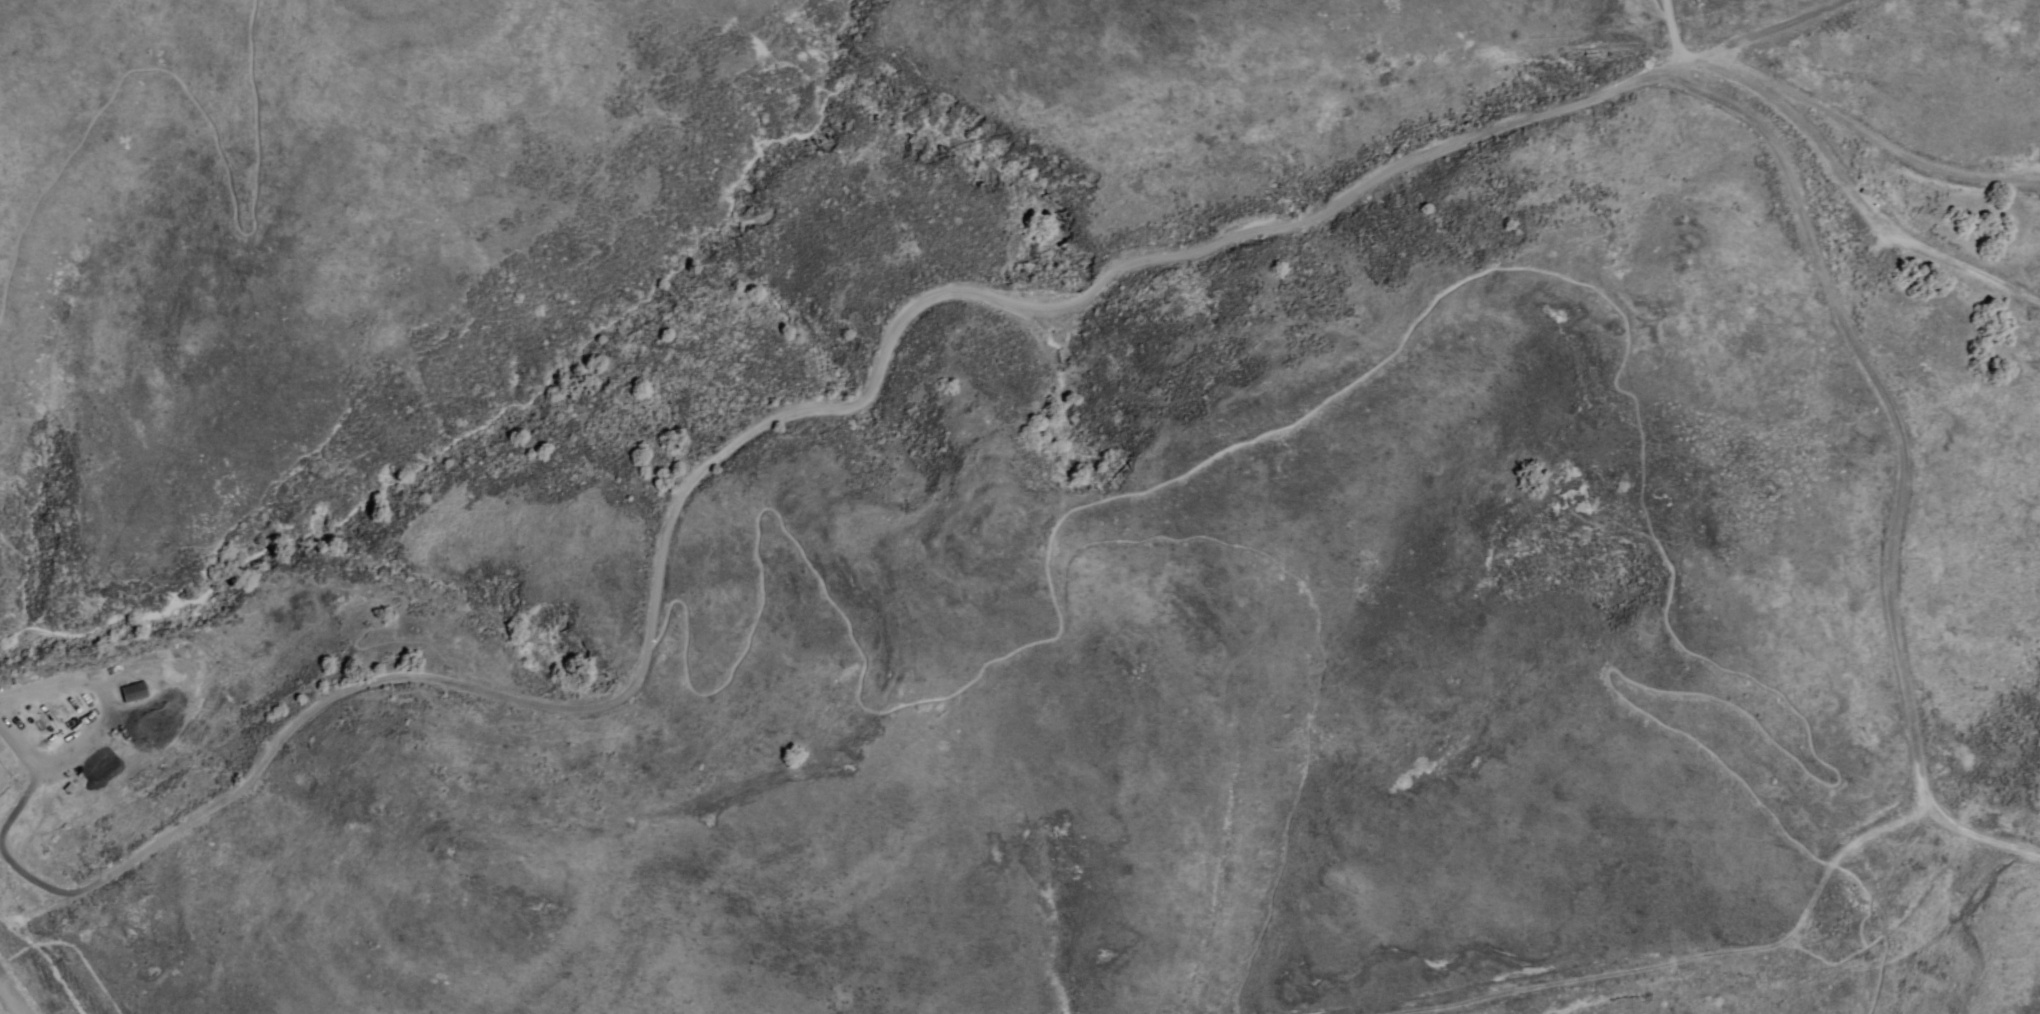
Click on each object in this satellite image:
road: (1763, 35)
road: (1880, 145)
road: (1857, 195)
road: (975, 292)
road: (1893, 418)
building: (133, 691)
road: (249, 779)
road: (2, 1003)

